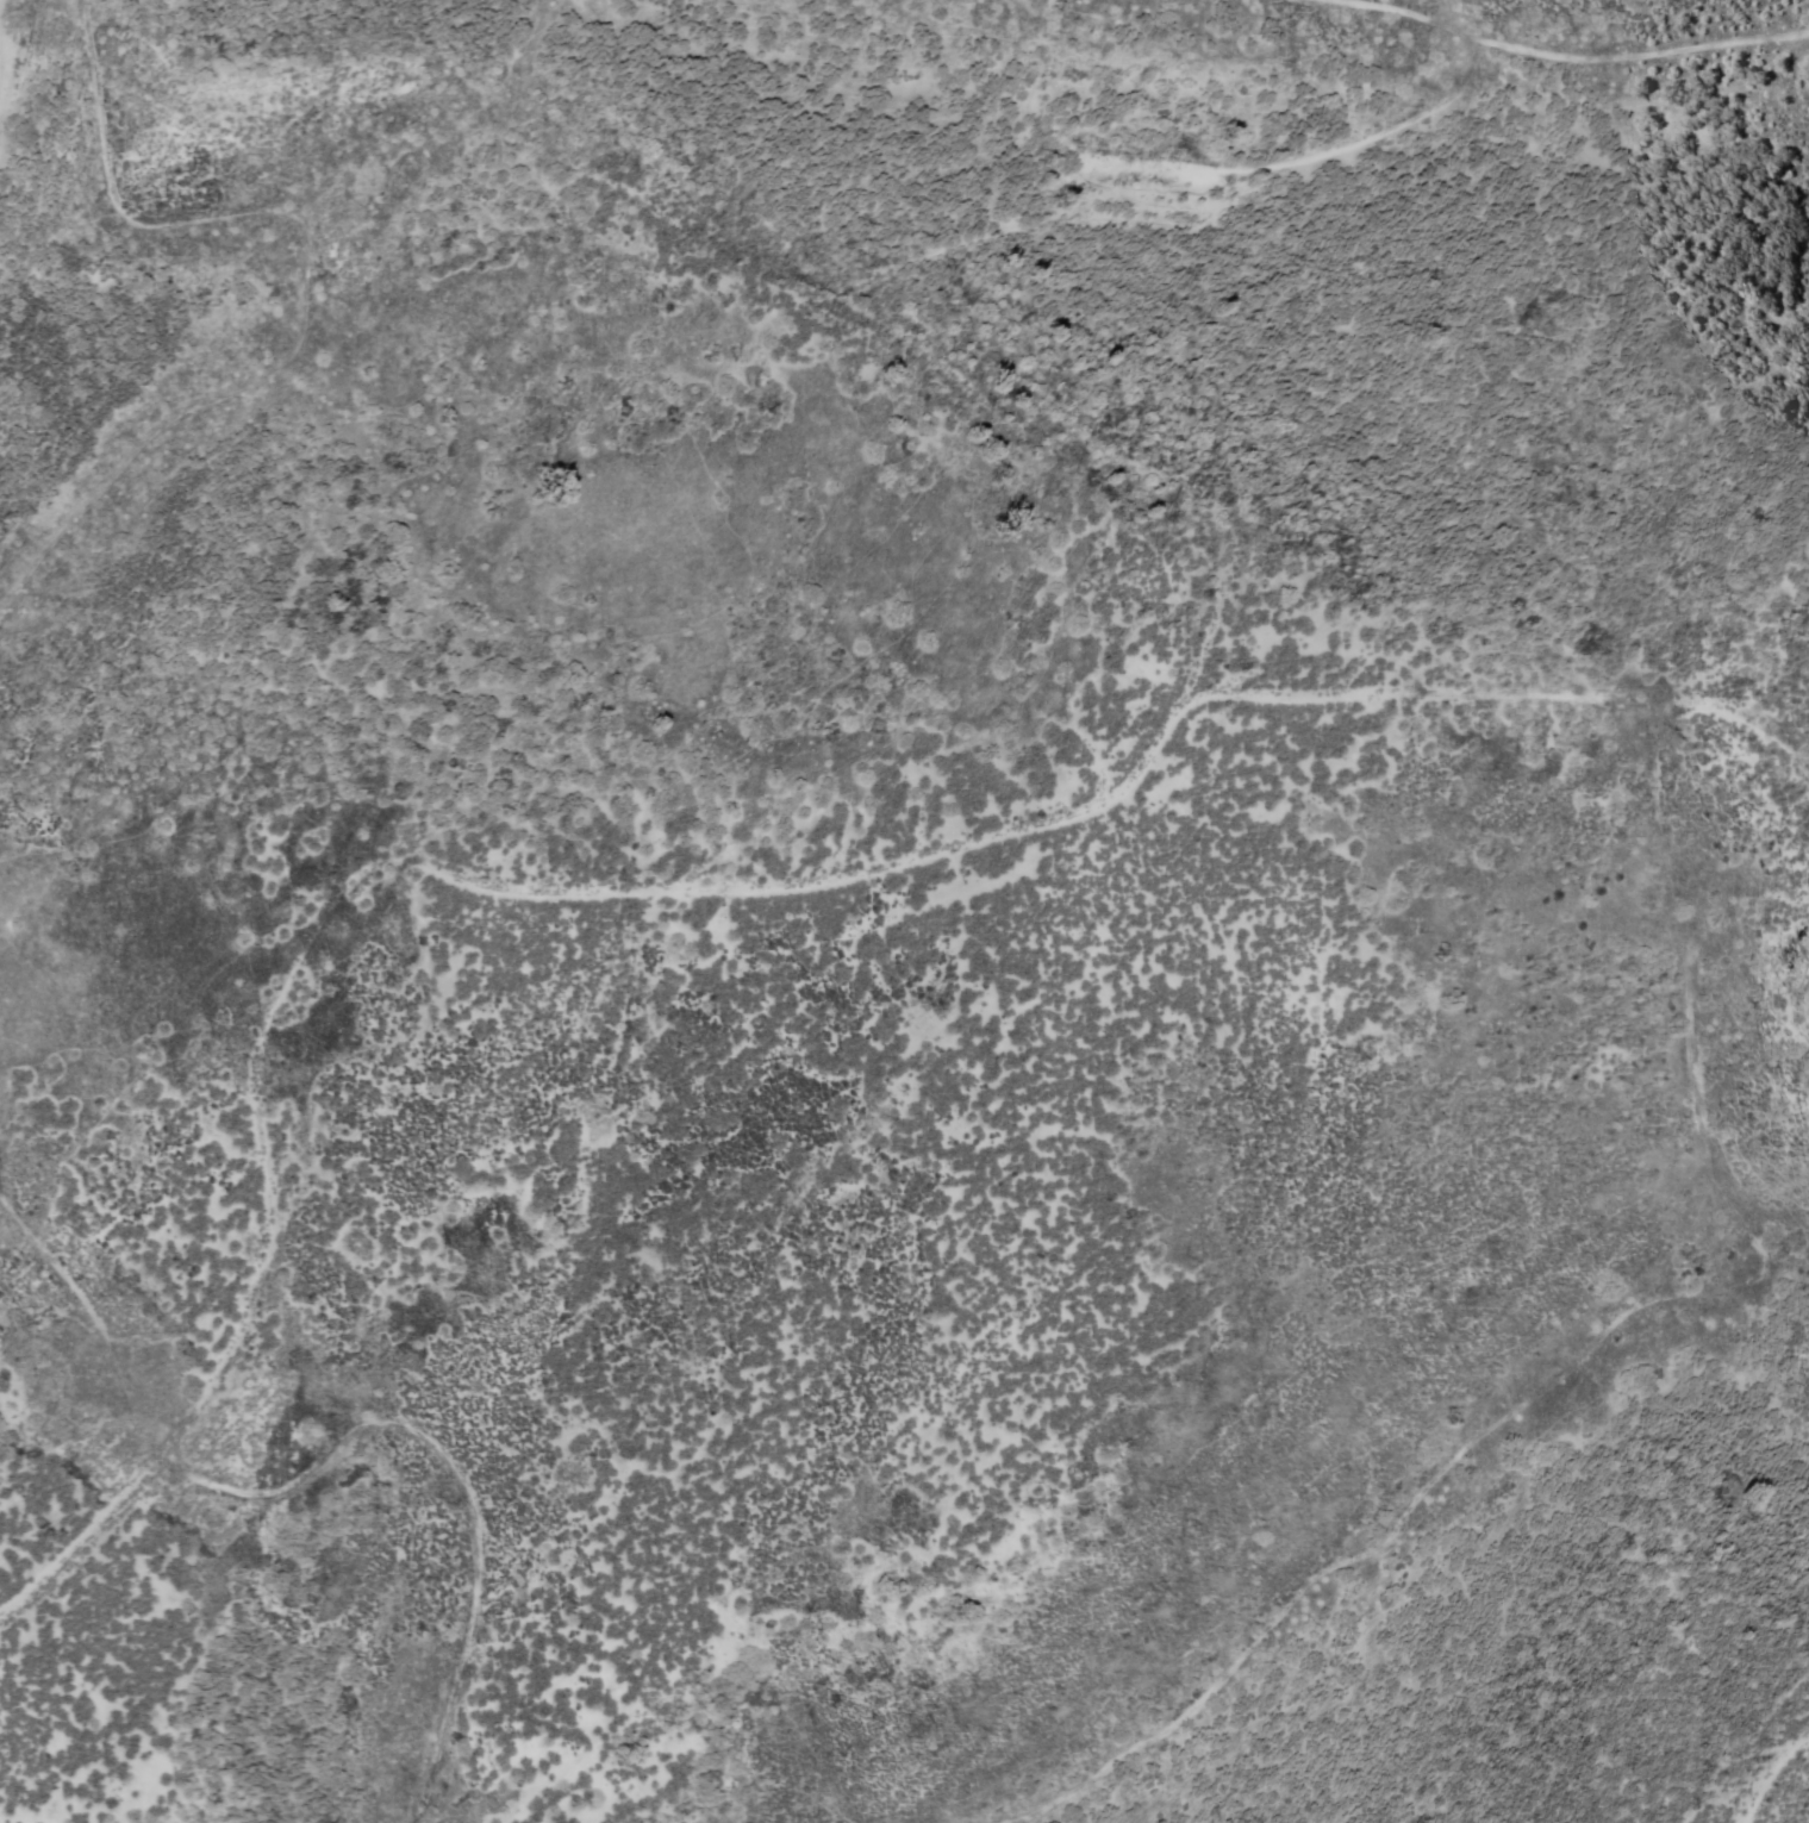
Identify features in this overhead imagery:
road: (1379, 69)
road: (1539, 691)

